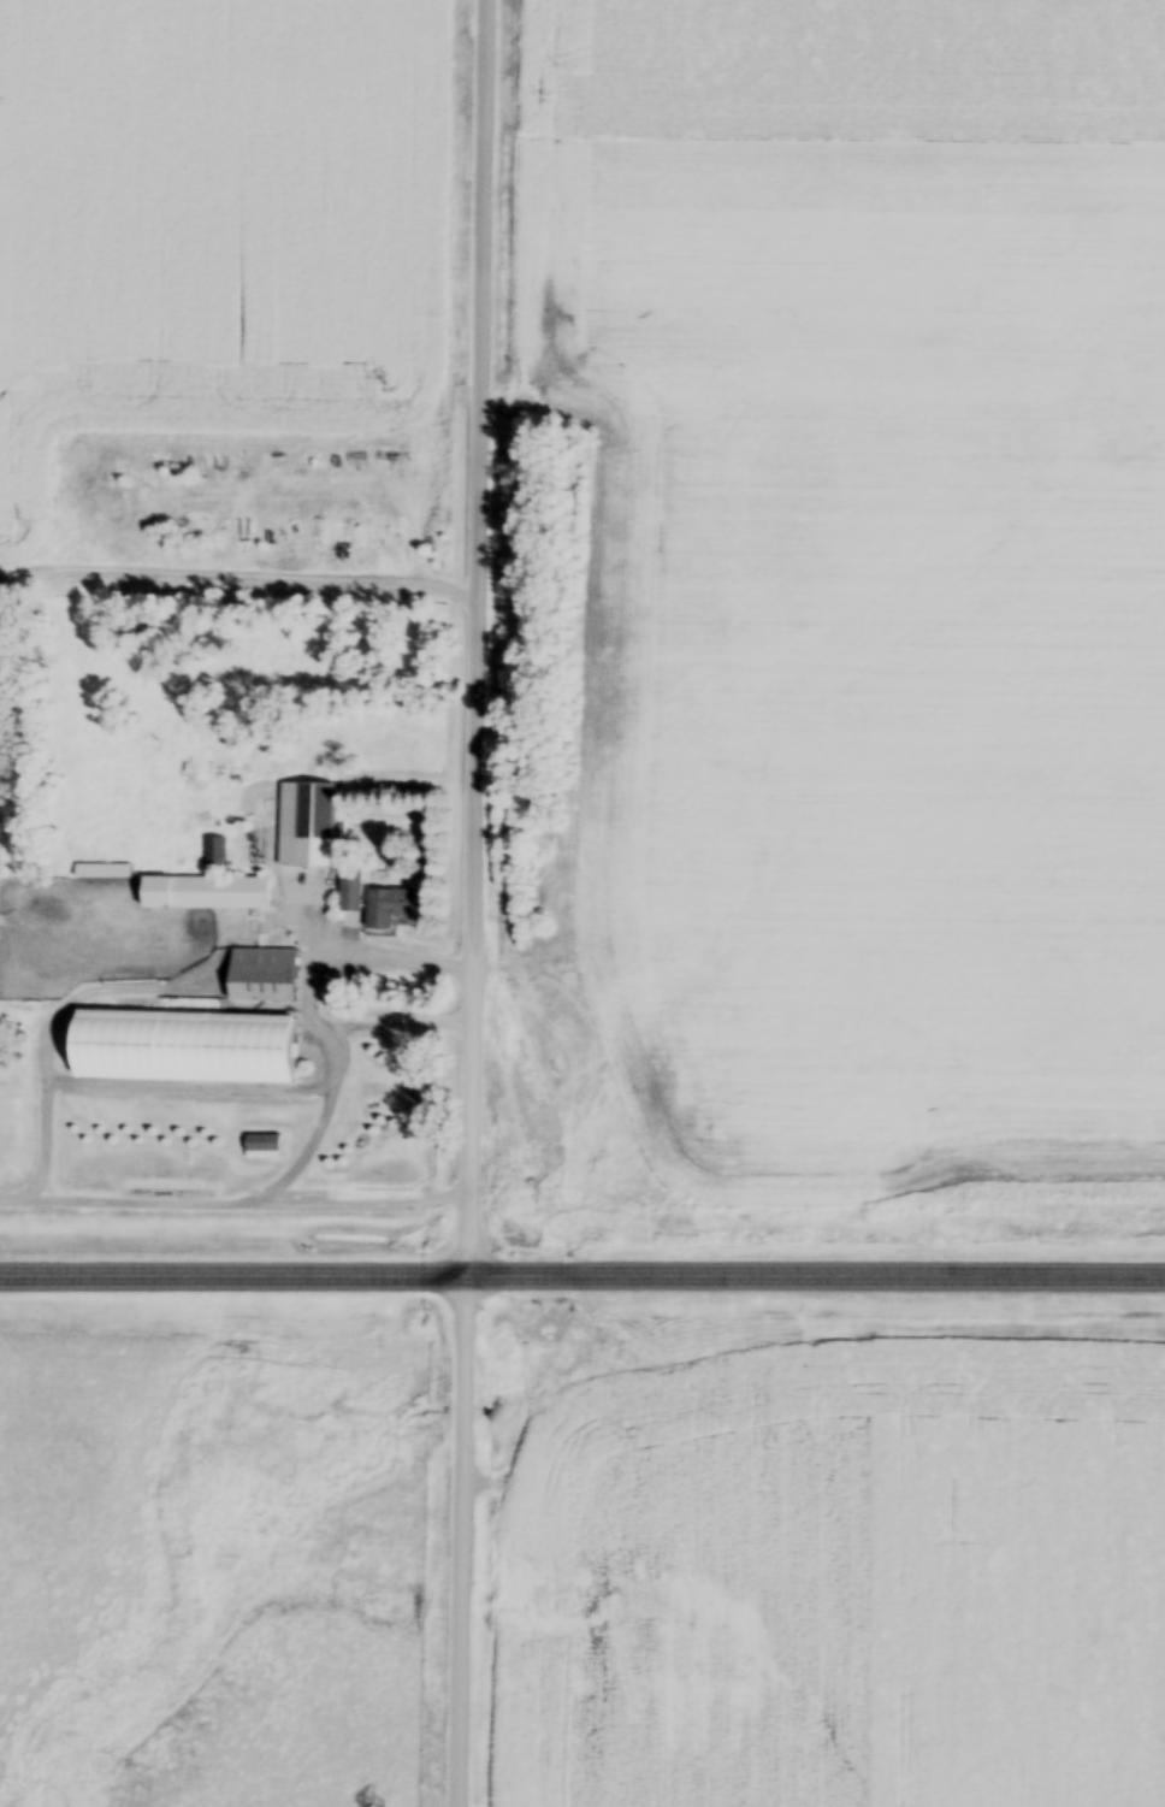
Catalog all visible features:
building: (312, 832)
building: (205, 891)
building: (348, 894)
road: (479, 903)
building: (386, 911)
building: (260, 979)
road: (306, 1009)
building: (248, 1026)
road: (395, 1027)
road: (130, 1083)
building: (260, 1147)
road: (236, 1205)
road: (582, 1282)

